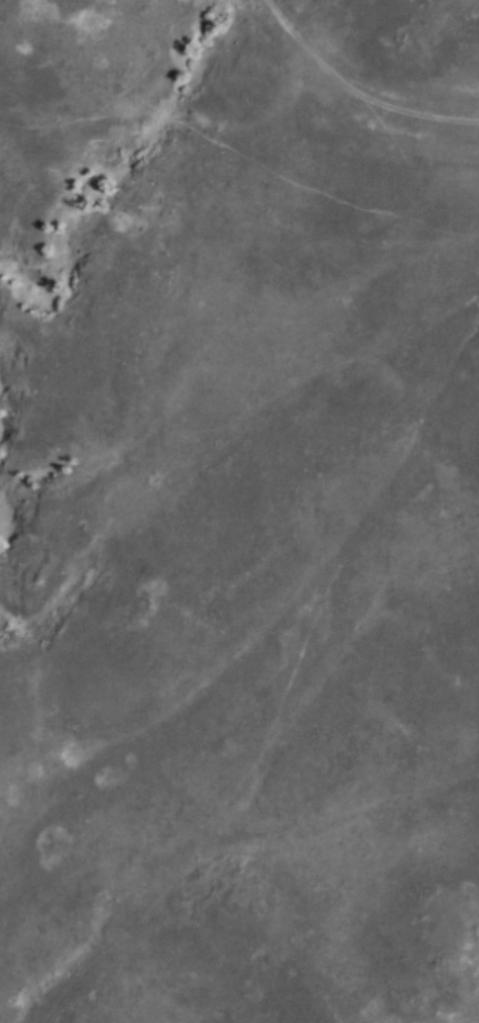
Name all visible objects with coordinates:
road: (358, 85)

